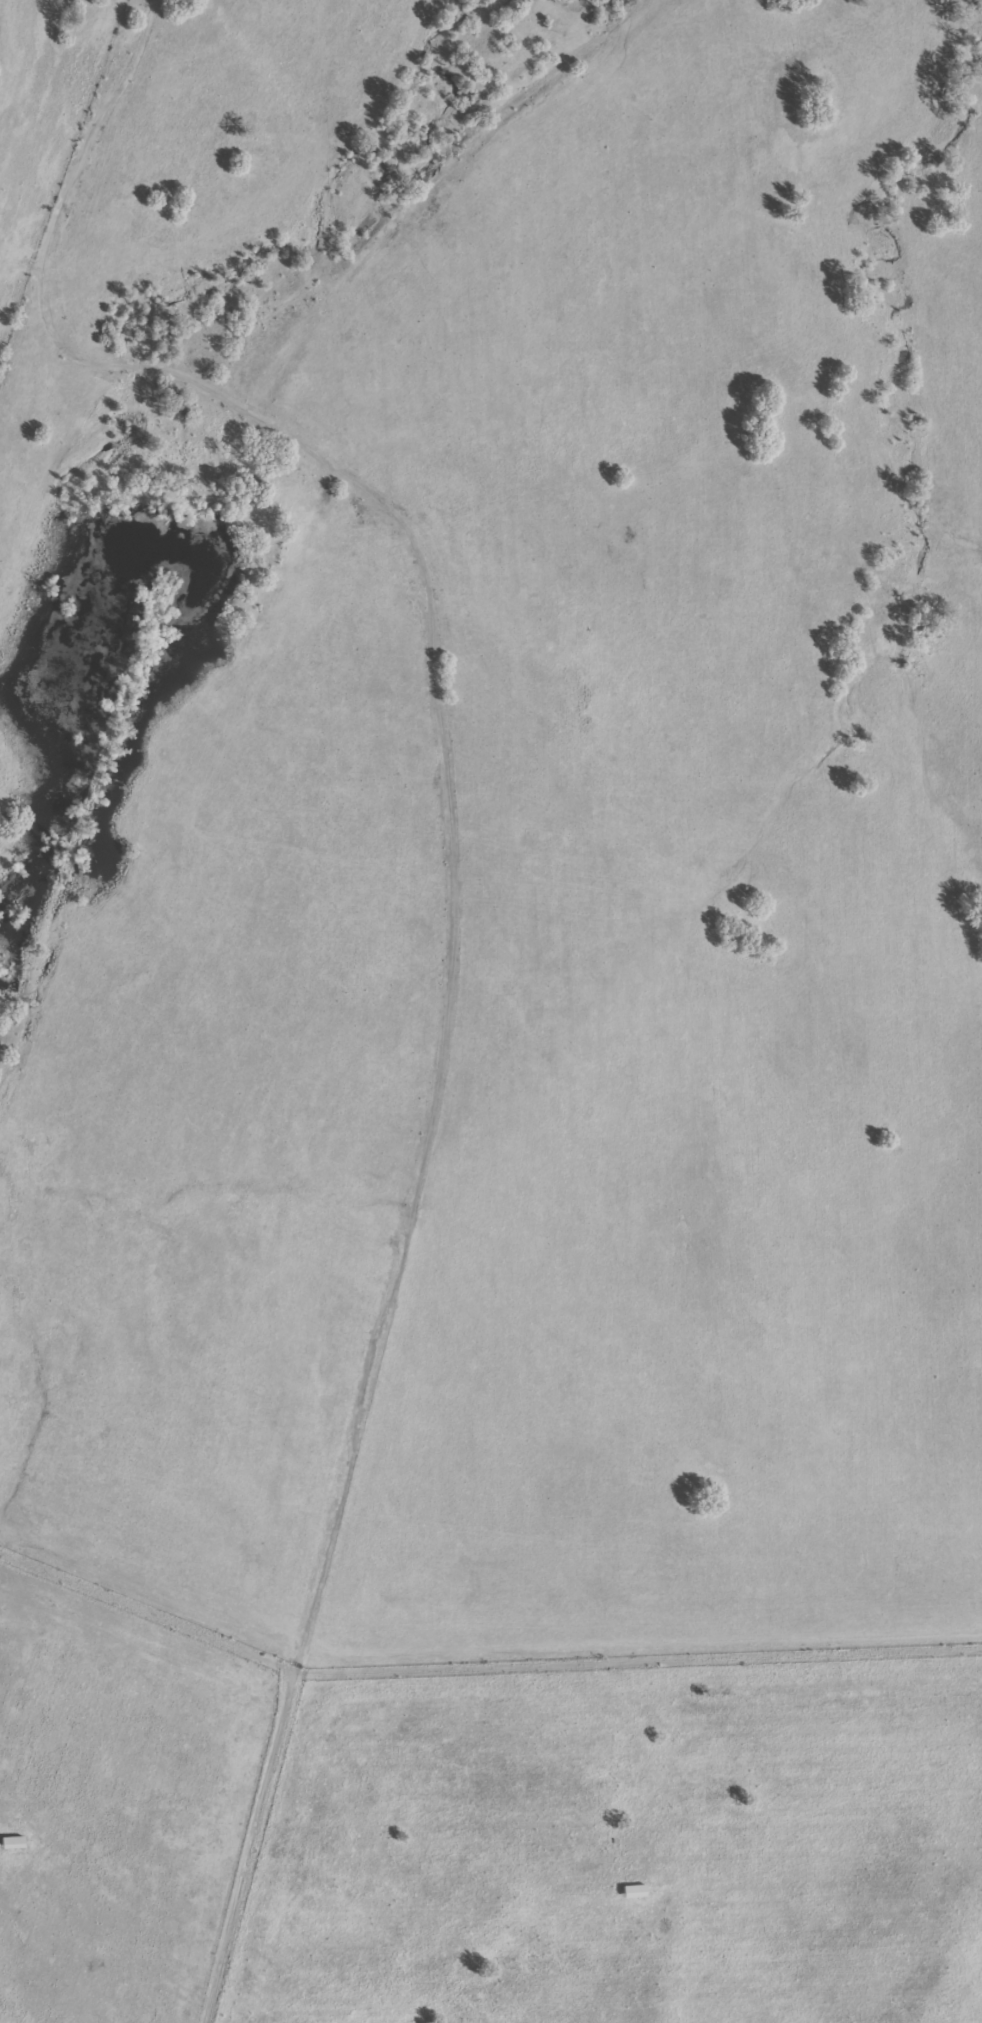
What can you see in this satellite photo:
road: (398, 540)
road: (319, 1671)
building: (10, 1841)
building: (631, 1890)

